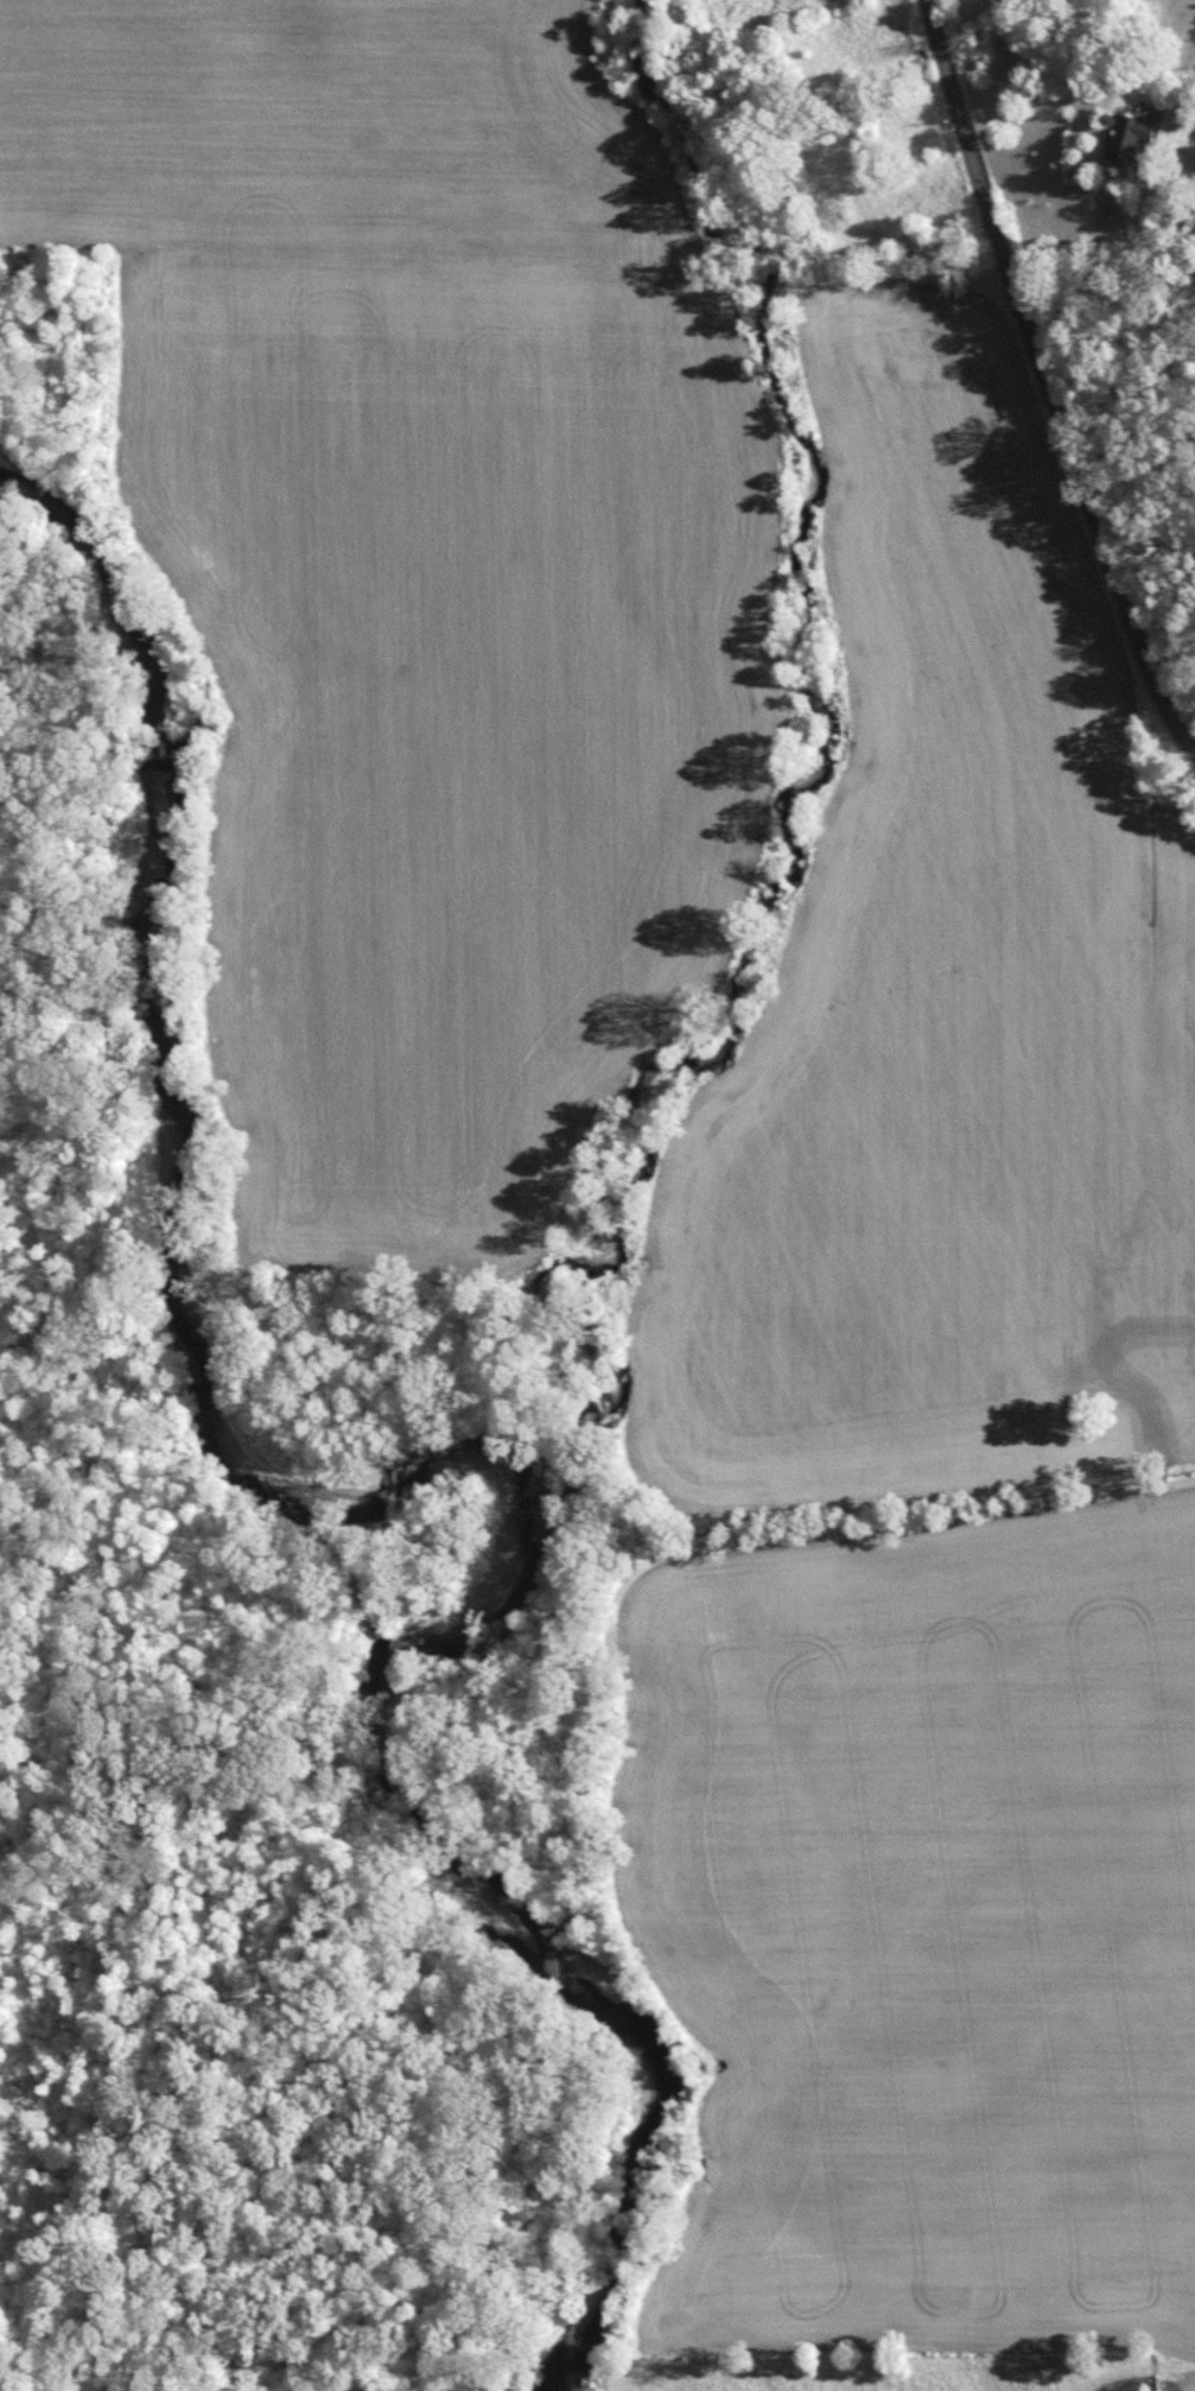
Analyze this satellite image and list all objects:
building: (1127, 135)
road: (1055, 338)

